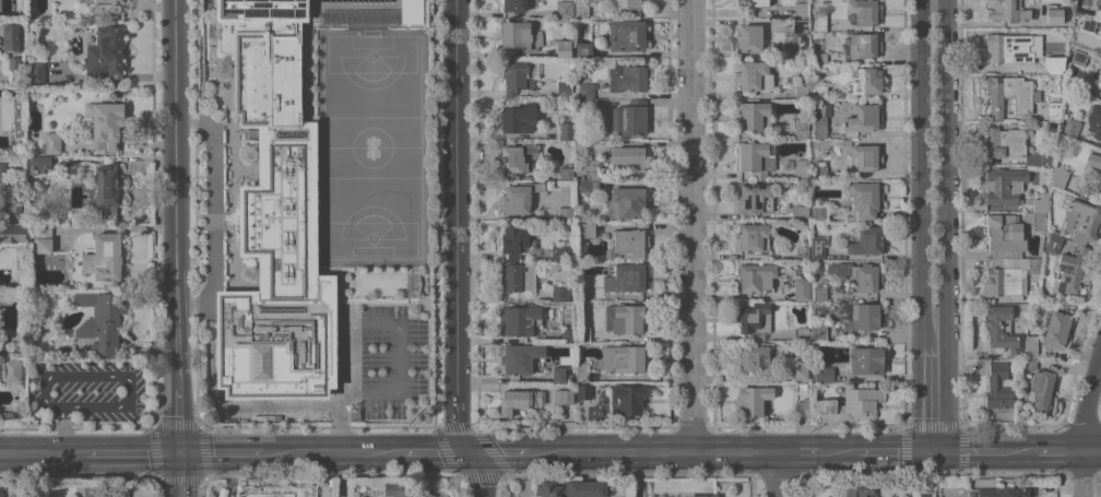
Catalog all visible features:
building: (31, 0)
building: (104, 0)
building: (19, 4)
building: (513, 4)
building: (632, 4)
building: (750, 5)
building: (565, 8)
building: (801, 8)
building: (581, 10)
building: (1008, 10)
building: (409, 11)
building: (867, 12)
building: (1054, 13)
building: (818, 21)
building: (1088, 22)
building: (801, 25)
building: (11, 35)
building: (627, 35)
building: (520, 36)
building: (749, 37)
building: (864, 45)
building: (564, 48)
building: (1009, 48)
building: (583, 50)
building: (105, 54)
road: (934, 57)
building: (1078, 57)
building: (818, 58)
building: (13, 62)
building: (1056, 64)
building: (36, 72)
building: (514, 76)
building: (628, 76)
building: (755, 76)
building: (867, 81)
building: (565, 87)
building: (802, 90)
building: (819, 91)
building: (1010, 94)
building: (587, 95)
building: (1054, 109)
building: (10, 115)
building: (755, 115)
road: (961, 115)
road: (996, 116)
road: (1022, 116)
building: (518, 117)
building: (629, 118)
building: (862, 118)
building: (1094, 120)
building: (107, 121)
building: (821, 121)
building: (801, 128)
building: (1072, 128)
building: (565, 130)
building: (51, 142)
building: (1013, 145)
park: (370, 146)
building: (627, 154)
building: (866, 156)
building: (514, 157)
building: (756, 157)
road: (128, 158)
building: (40, 163)
building: (802, 168)
building: (589, 169)
building: (819, 169)
building: (2, 173)
building: (566, 174)
building: (1099, 176)
building: (1059, 177)
building: (1005, 185)
building: (587, 187)
building: (106, 188)
building: (518, 197)
building: (756, 197)
building: (865, 199)
building: (624, 203)
building: (1039, 203)
building: (12, 208)
road: (215, 211)
building: (802, 212)
building: (819, 212)
building: (566, 213)
building: (274, 217)
building: (1035, 220)
building: (1081, 221)
road: (179, 224)
road: (688, 224)
building: (802, 227)
building: (585, 229)
building: (12, 233)
building: (1005, 236)
building: (751, 237)
building: (43, 238)
building: (513, 240)
building: (631, 240)
building: (866, 241)
building: (1053, 242)
building: (817, 246)
road: (454, 250)
building: (558, 252)
building: (802, 252)
building: (104, 257)
building: (29, 260)
building: (1072, 270)
building: (857, 274)
building: (1008, 275)
building: (519, 276)
building: (625, 277)
building: (755, 277)
road: (936, 282)
building: (840, 288)
building: (802, 289)
building: (559, 294)
building: (820, 294)
building: (581, 295)
building: (867, 316)
building: (624, 318)
building: (754, 318)
building: (102, 319)
building: (520, 320)
road: (395, 326)
building: (1002, 329)
building: (818, 330)
building: (1056, 330)
building: (800, 334)
building: (568, 335)
building: (830, 338)
building: (9, 344)
building: (1030, 346)
building: (624, 358)
building: (756, 358)
building: (866, 360)
building: (520, 363)
building: (1030, 364)
building: (800, 369)
building: (12, 370)
building: (582, 372)
road: (105, 375)
building: (558, 375)
building: (825, 375)
building: (998, 387)
building: (1041, 387)
building: (583, 391)
building: (566, 397)
building: (626, 399)
building: (754, 399)
road: (343, 401)
building: (518, 401)
road: (245, 404)
building: (857, 404)
building: (803, 407)
building: (11, 415)
road: (1084, 419)
road: (63, 429)
road: (665, 448)
road: (733, 448)
road: (794, 448)
road: (837, 448)
road: (583, 449)
road: (897, 449)
traffic signals: (937, 449)
traffic signals: (180, 450)
road: (224, 450)
road: (332, 450)
road: (433, 450)
traffic signals: (467, 450)
road: (498, 450)
road: (986, 450)
road: (132, 451)
road: (1058, 451)
road: (1091, 451)
road: (42, 452)
road: (773, 472)
road: (180, 473)
road: (227, 473)
building: (571, 488)
building: (1, 489)
building: (400, 489)
building: (925, 489)
building: (97, 490)
building: (121, 490)
building: (279, 490)
building: (860, 490)
building: (1004, 492)
building: (343, 496)
building: (698, 496)

